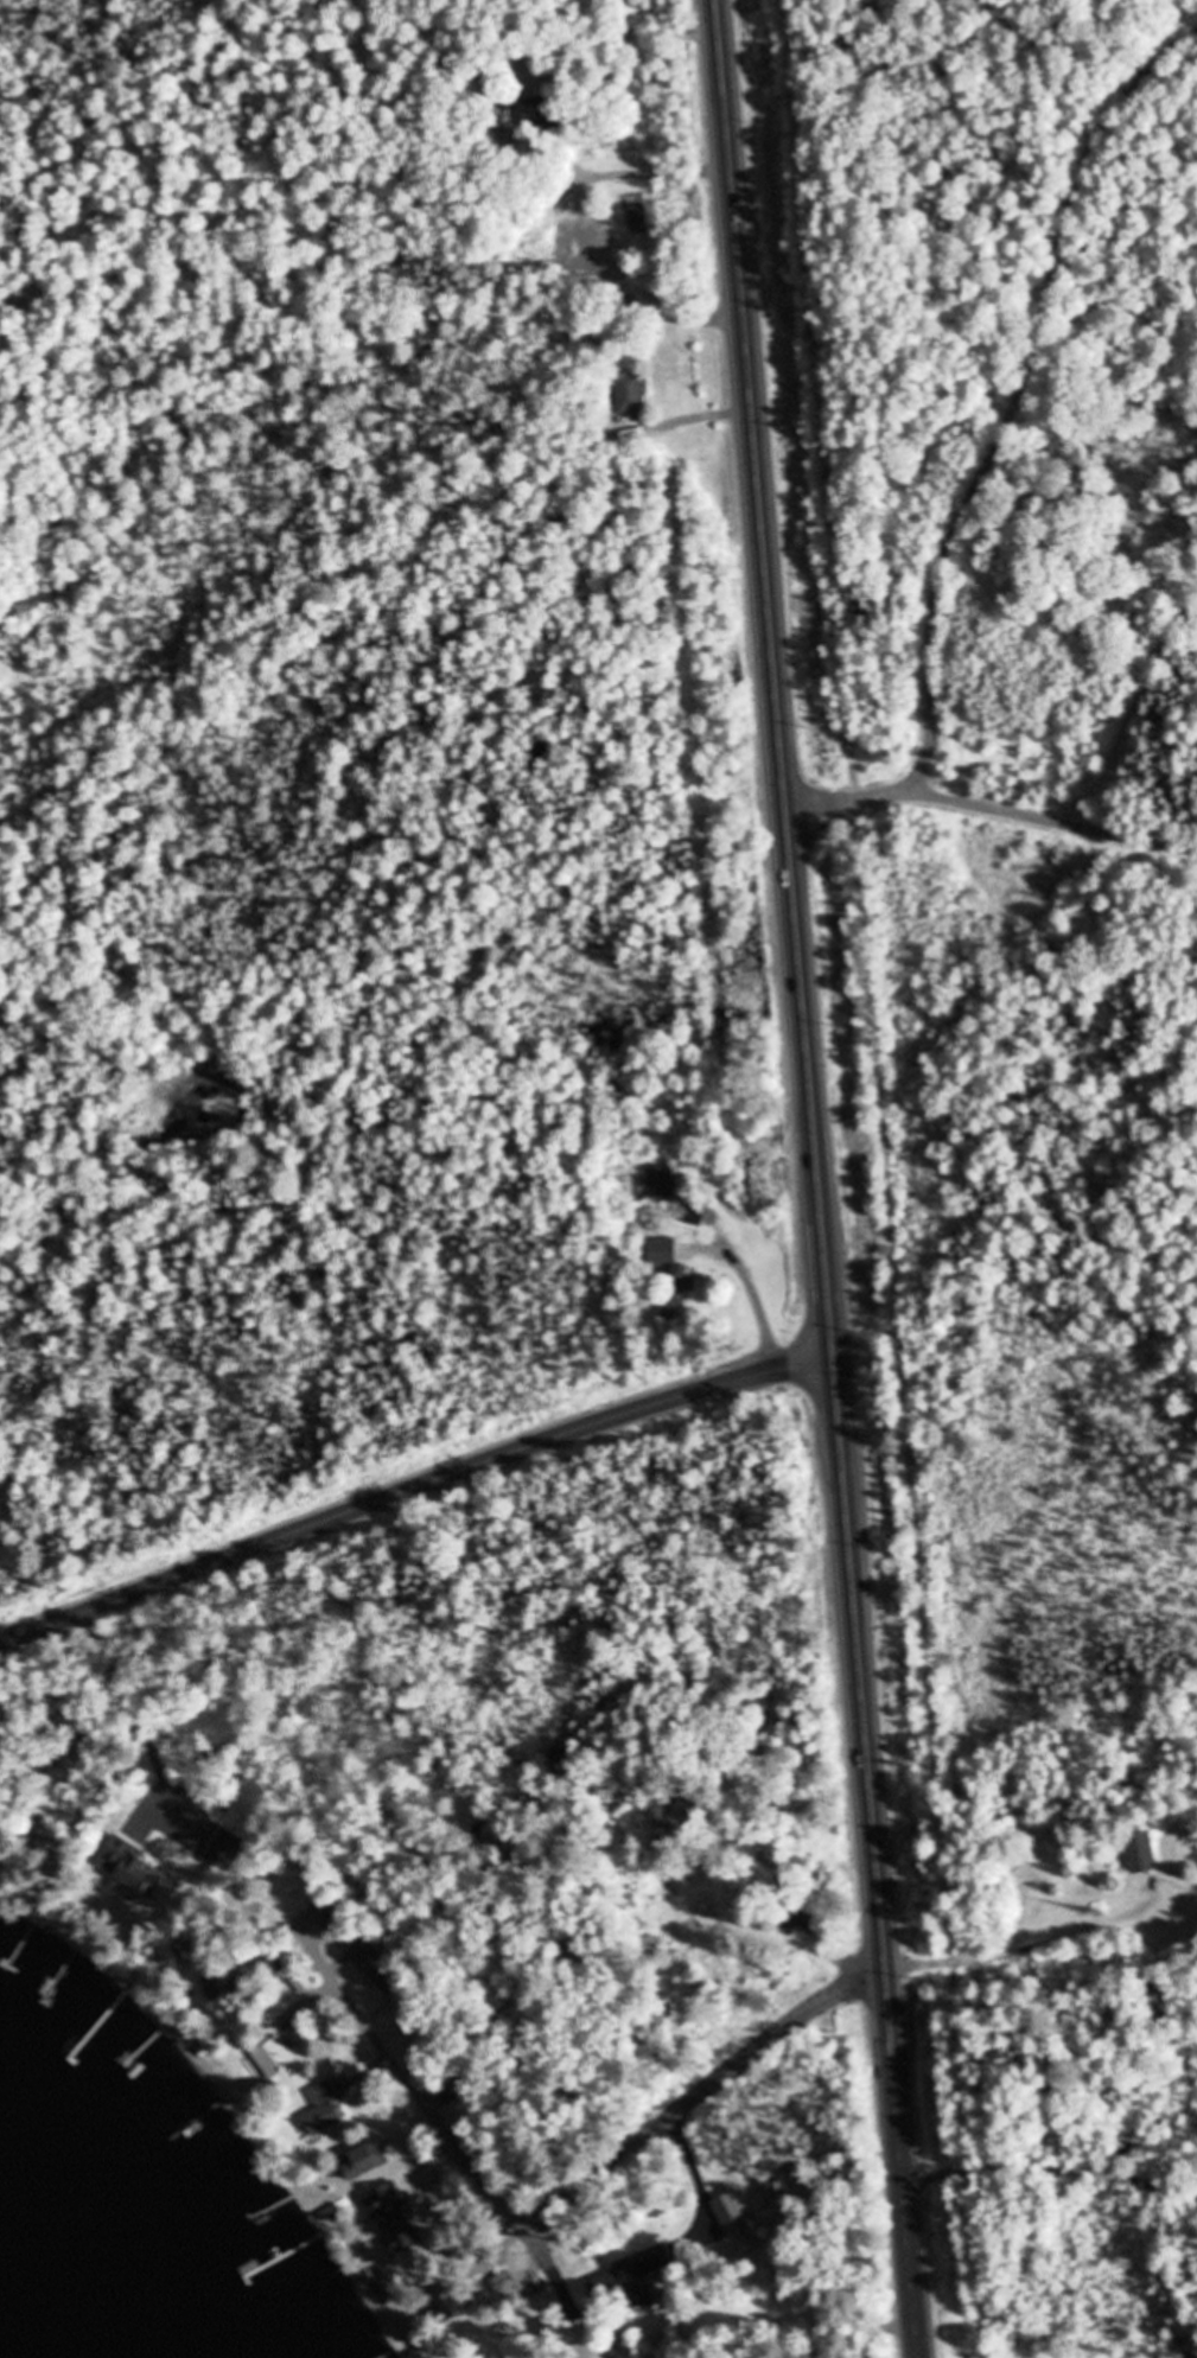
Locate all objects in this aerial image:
building: (541, 114)
building: (632, 395)
road: (1029, 402)
road: (841, 797)
road: (1048, 812)
road: (817, 1179)
building: (664, 1183)
building: (670, 1274)
road: (413, 1487)
building: (50, 1831)
building: (1142, 1853)
building: (243, 1886)
building: (326, 1905)
building: (191, 1949)
building: (221, 1984)
building: (276, 2058)
road: (706, 2088)
building: (325, 2111)
building: (367, 2163)
building: (732, 2217)
building: (394, 2218)
building: (631, 2287)
building: (448, 2308)

